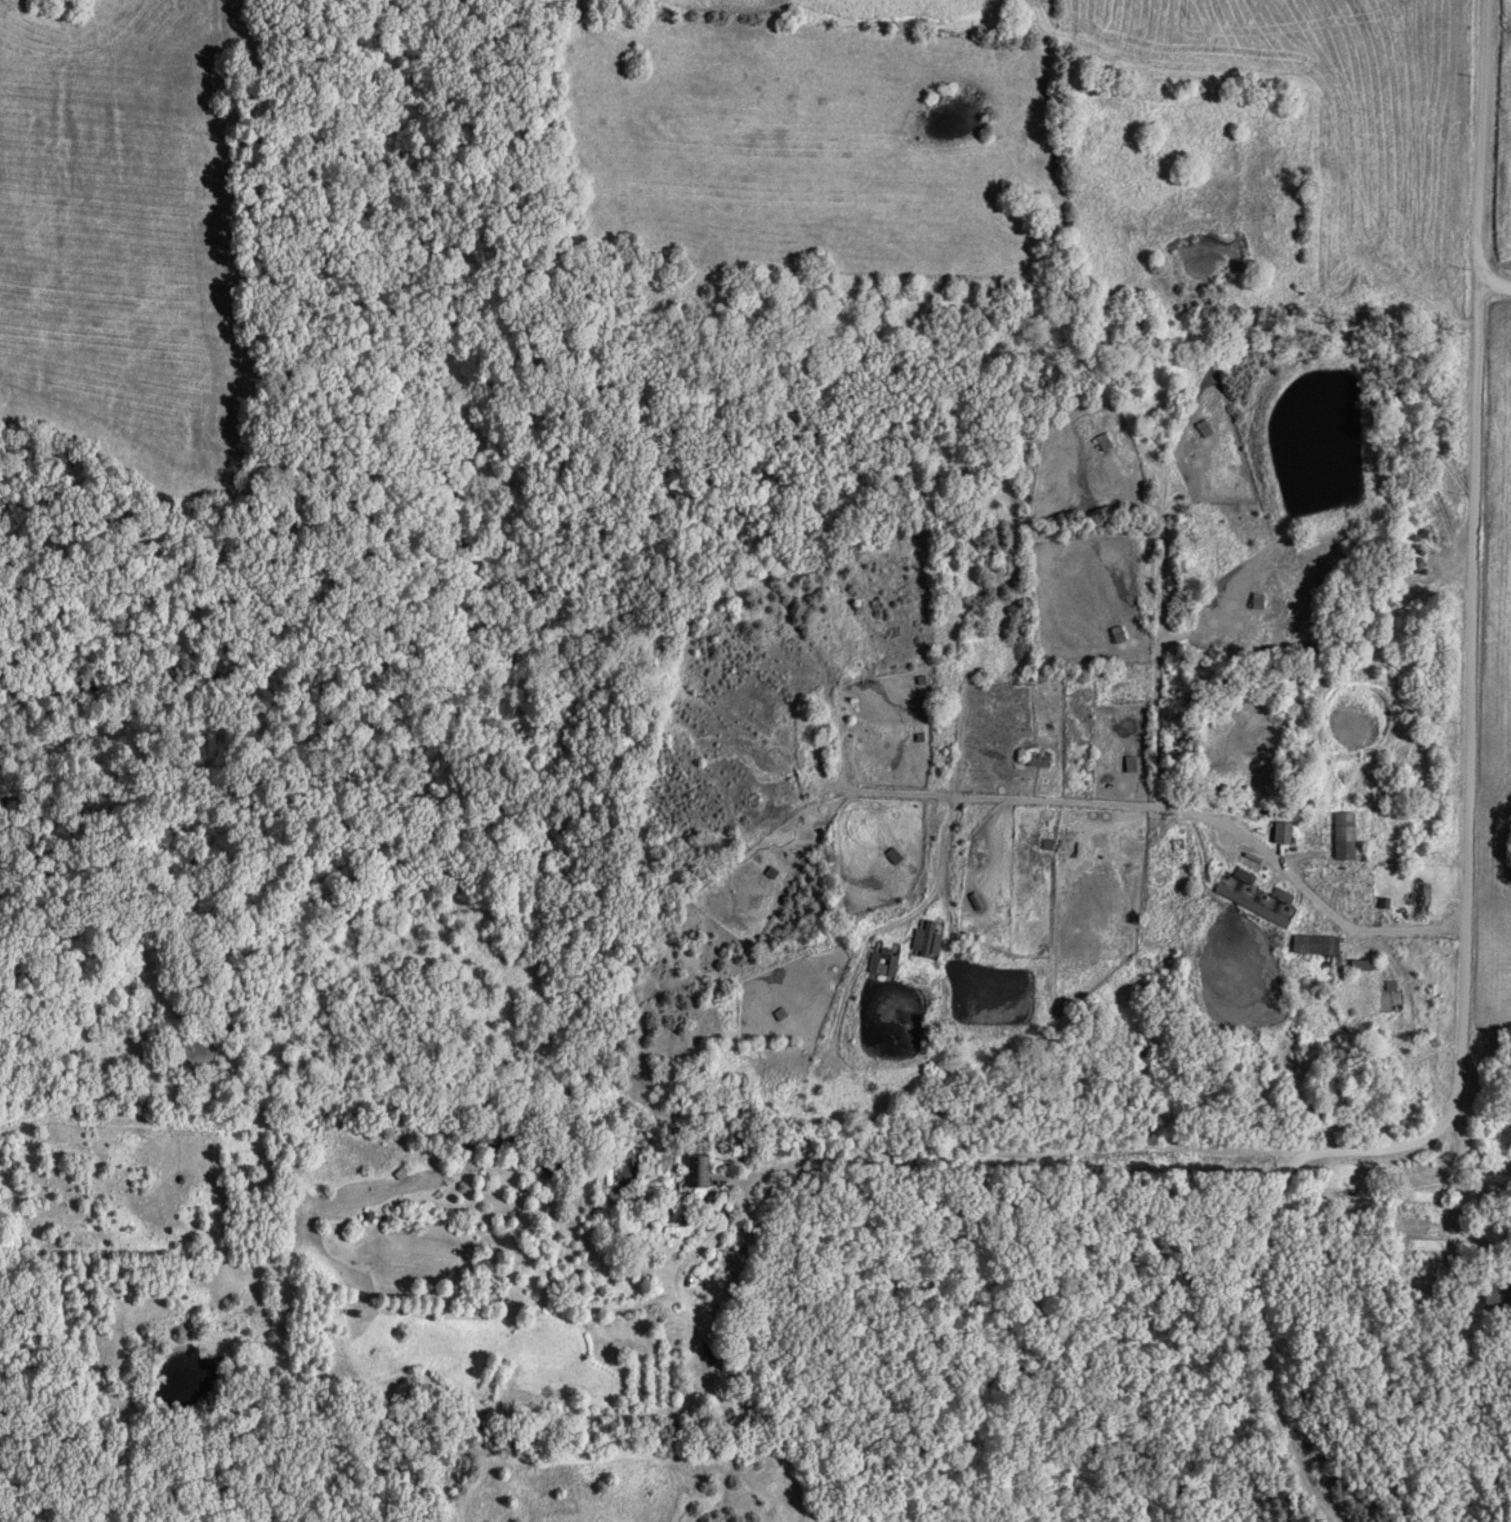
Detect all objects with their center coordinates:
road: (1493, 284)
building: (1200, 428)
building: (1106, 441)
building: (1426, 473)
building: (1419, 536)
building: (1408, 565)
building: (1254, 601)
building: (1119, 634)
building: (775, 683)
building: (1126, 765)
building: (1277, 834)
building: (1339, 837)
road: (1466, 837)
building: (1239, 877)
building: (1277, 897)
building: (1414, 898)
building: (1246, 907)
building: (924, 939)
building: (1310, 946)
building: (886, 962)
building: (1354, 966)
building: (488, 1137)
road: (1010, 1151)
building: (703, 1169)
road: (1452, 1202)
building: (1491, 1293)

